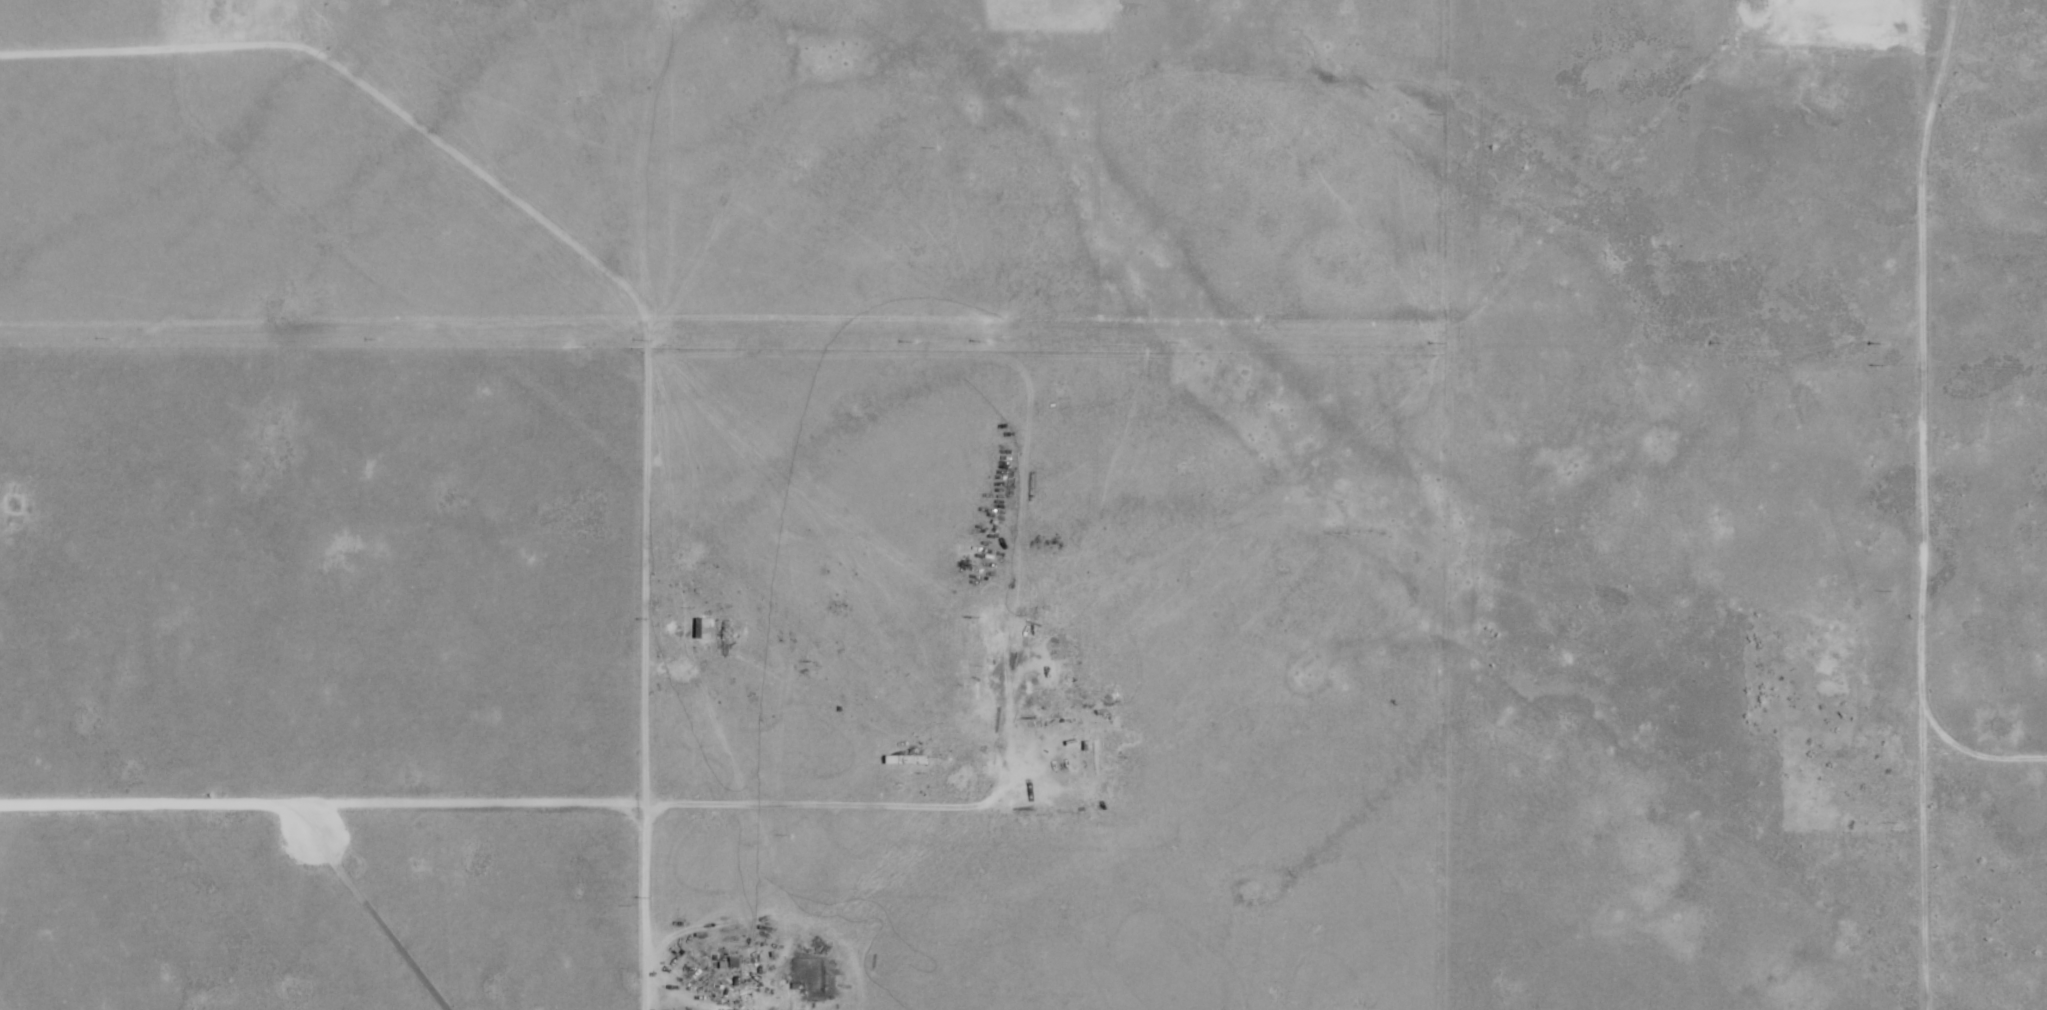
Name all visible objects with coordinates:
road: (97, 89)
road: (1938, 502)
road: (848, 801)
road: (414, 807)

